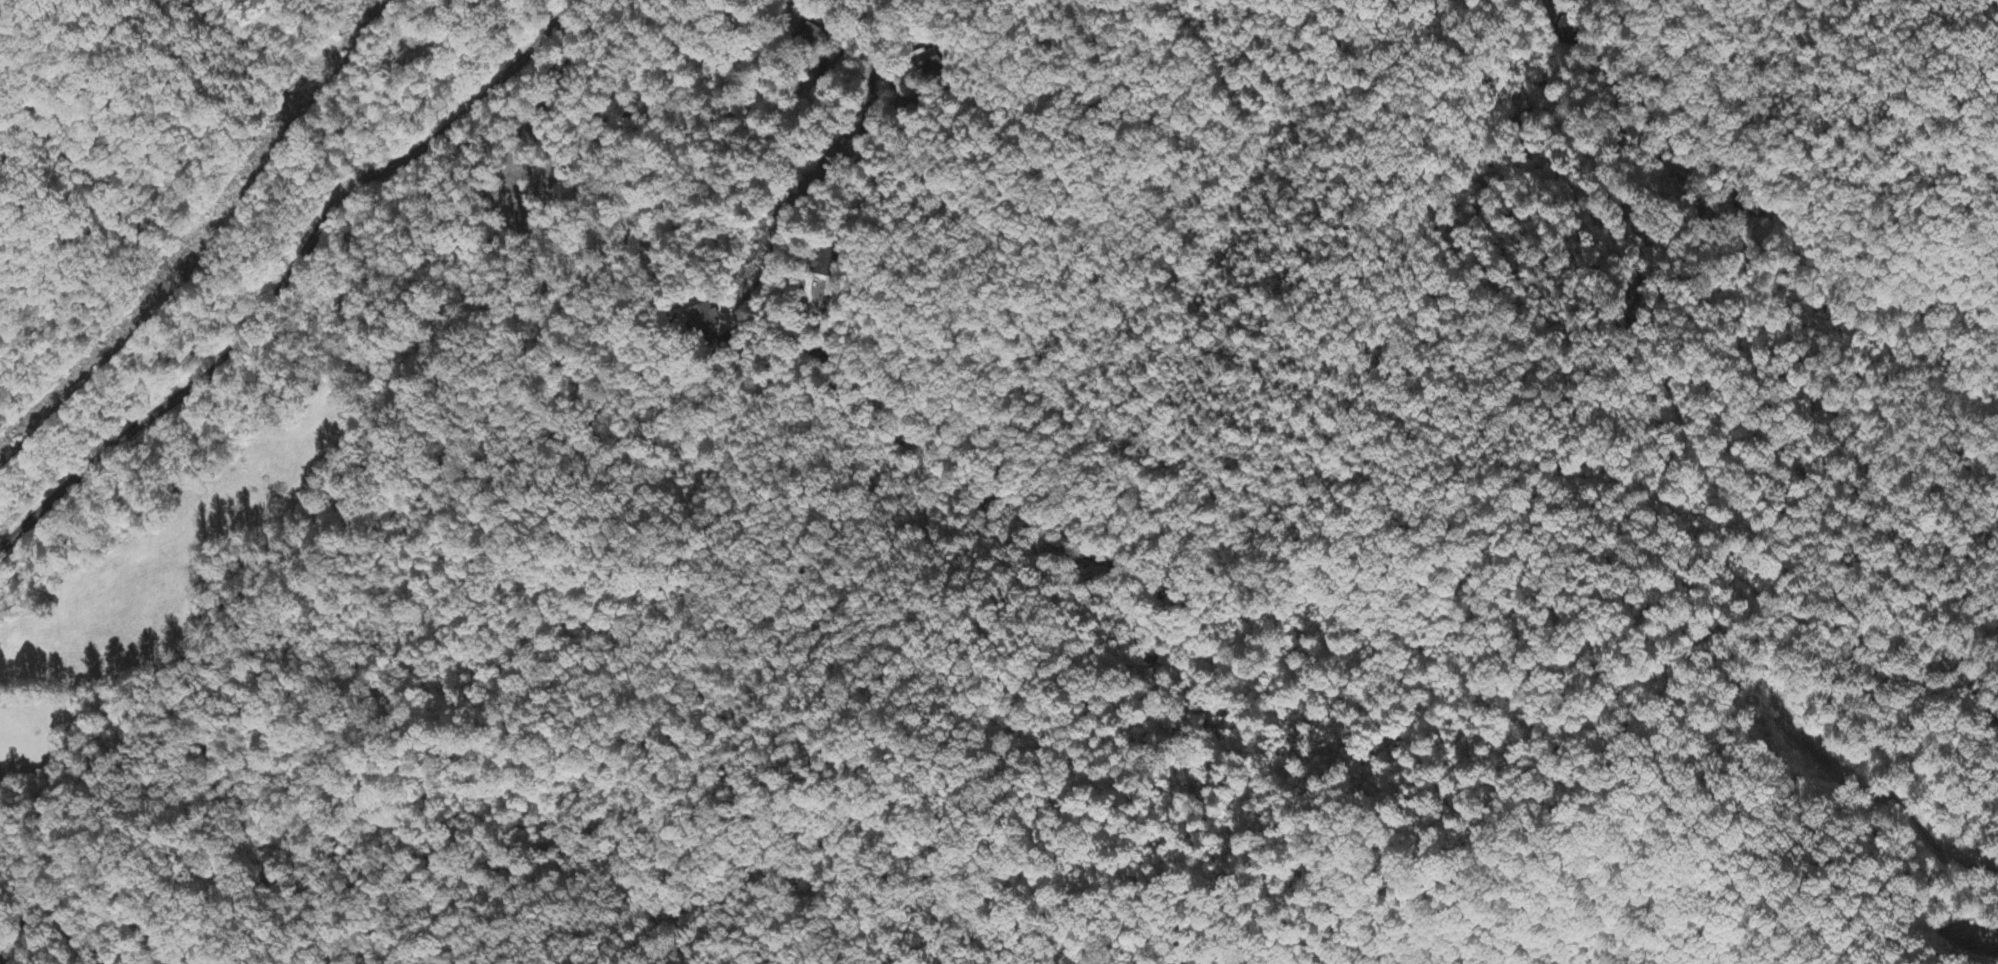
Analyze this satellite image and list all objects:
road: (852, 151)
road: (288, 274)
building: (708, 317)
road: (1906, 811)
road: (98, 829)

